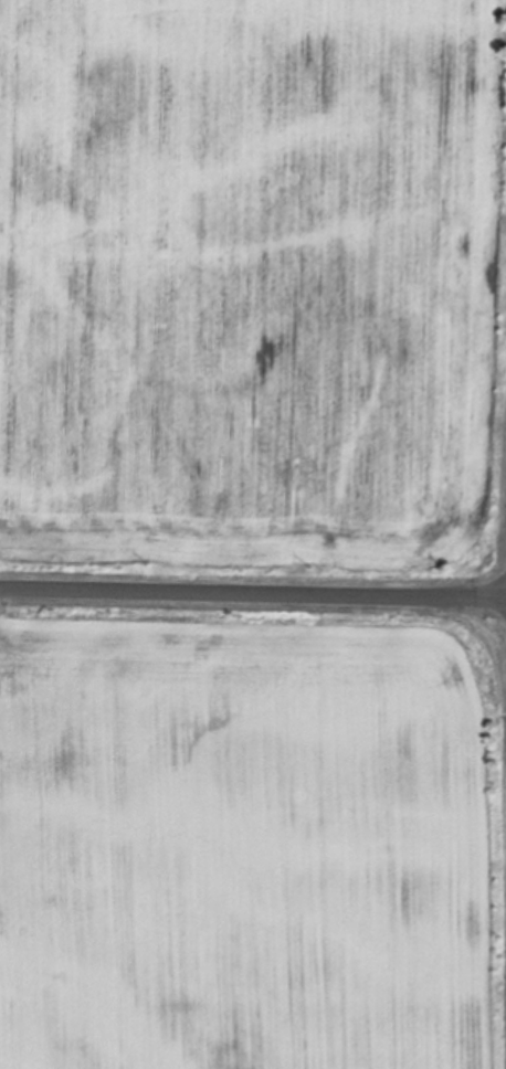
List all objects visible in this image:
road: (253, 593)

